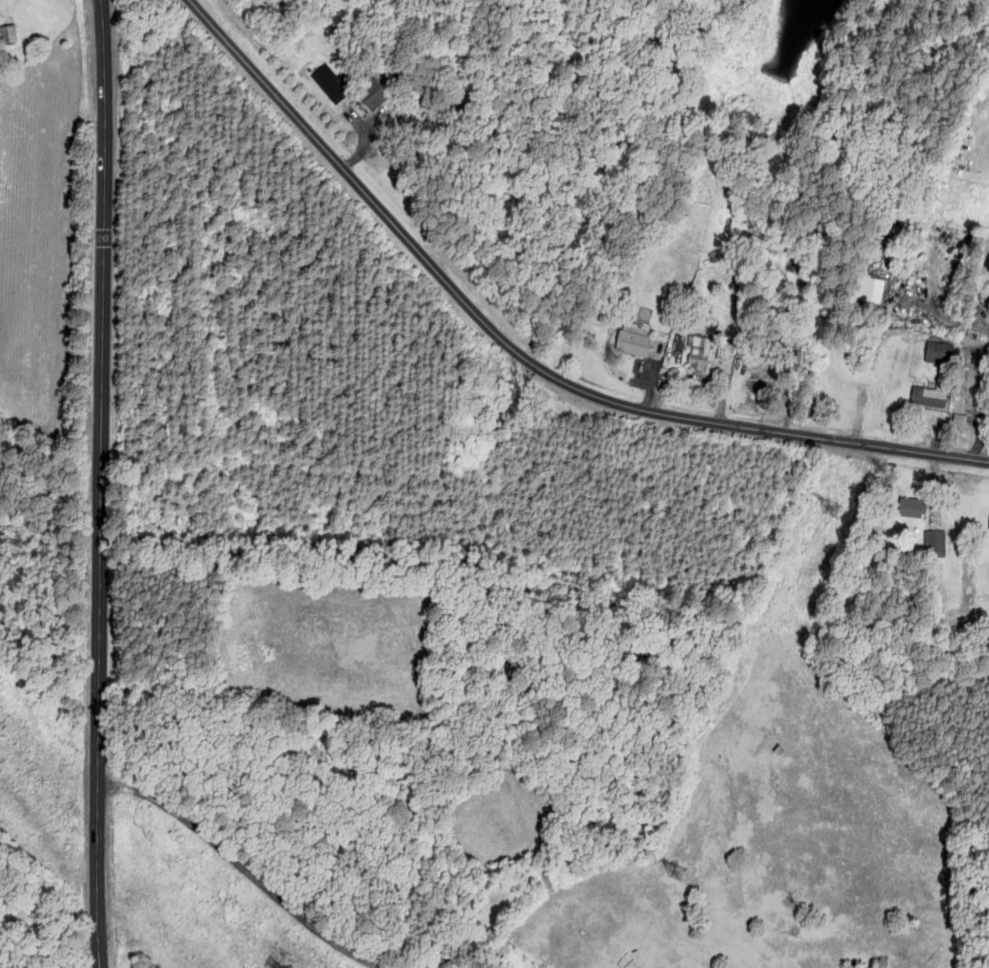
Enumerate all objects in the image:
building: (9, 32)
building: (328, 82)
building: (371, 94)
building: (871, 289)
building: (632, 343)
building: (698, 351)
building: (937, 352)
road: (520, 355)
building: (928, 394)
road: (983, 426)
road: (100, 484)
building: (910, 507)
power tower: (833, 512)
building: (988, 526)
building: (936, 541)
power tower: (678, 879)

